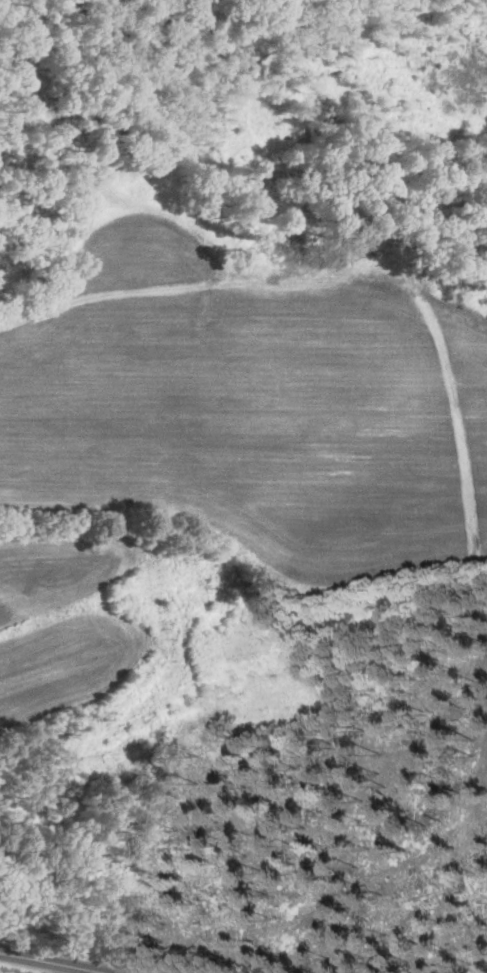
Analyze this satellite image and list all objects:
road: (54, 962)
road: (68, 969)

